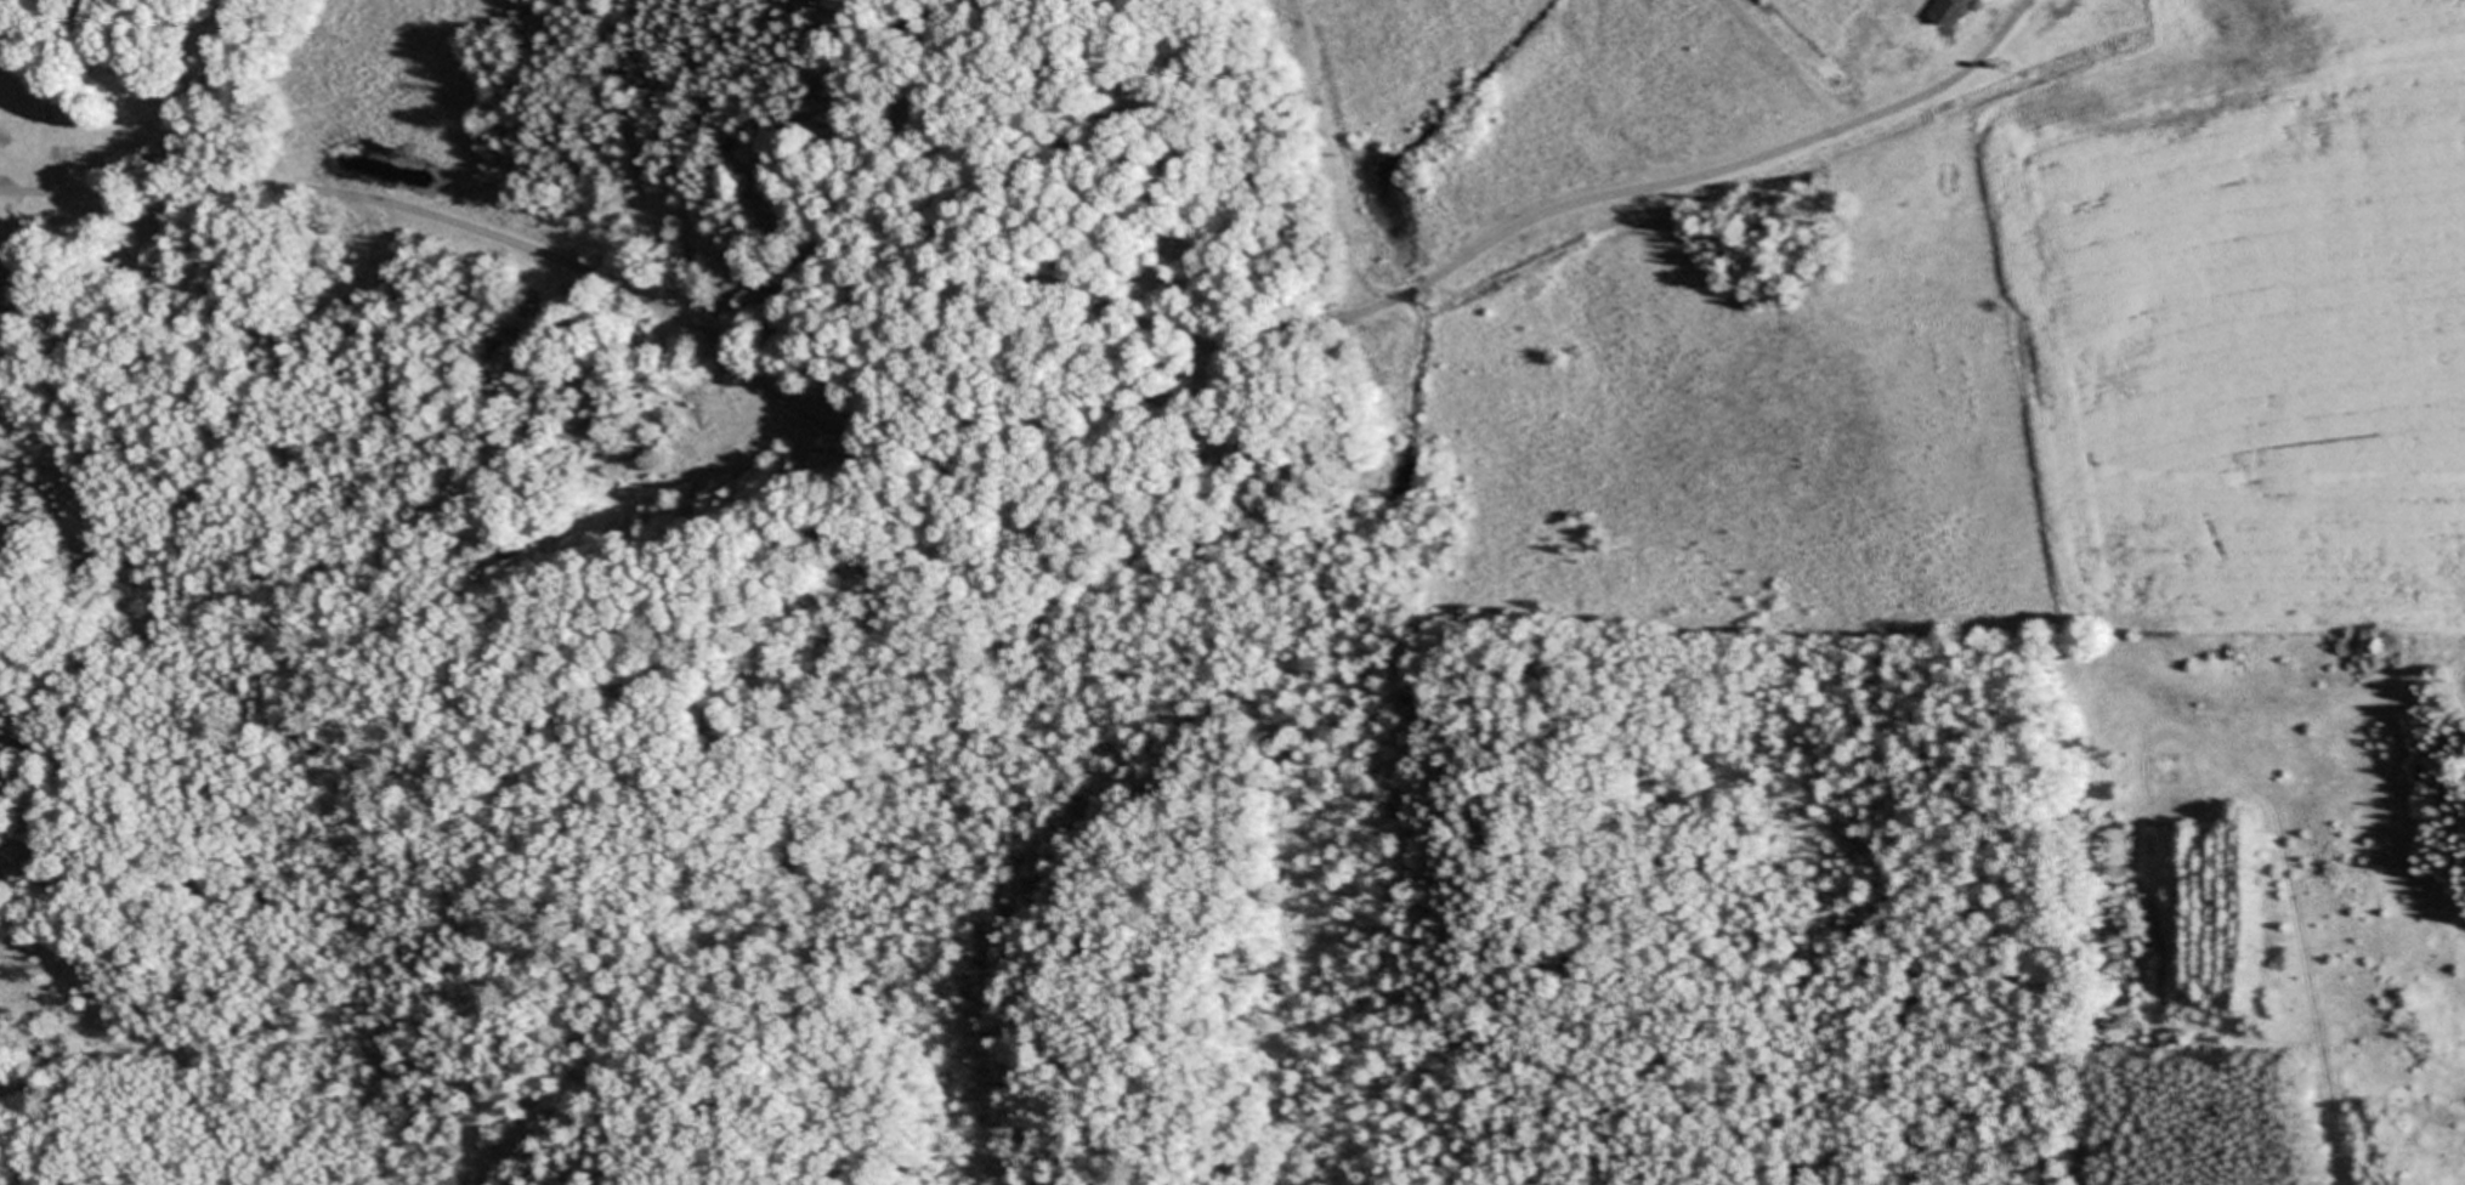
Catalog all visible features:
building: (1948, 11)
road: (1037, 440)

